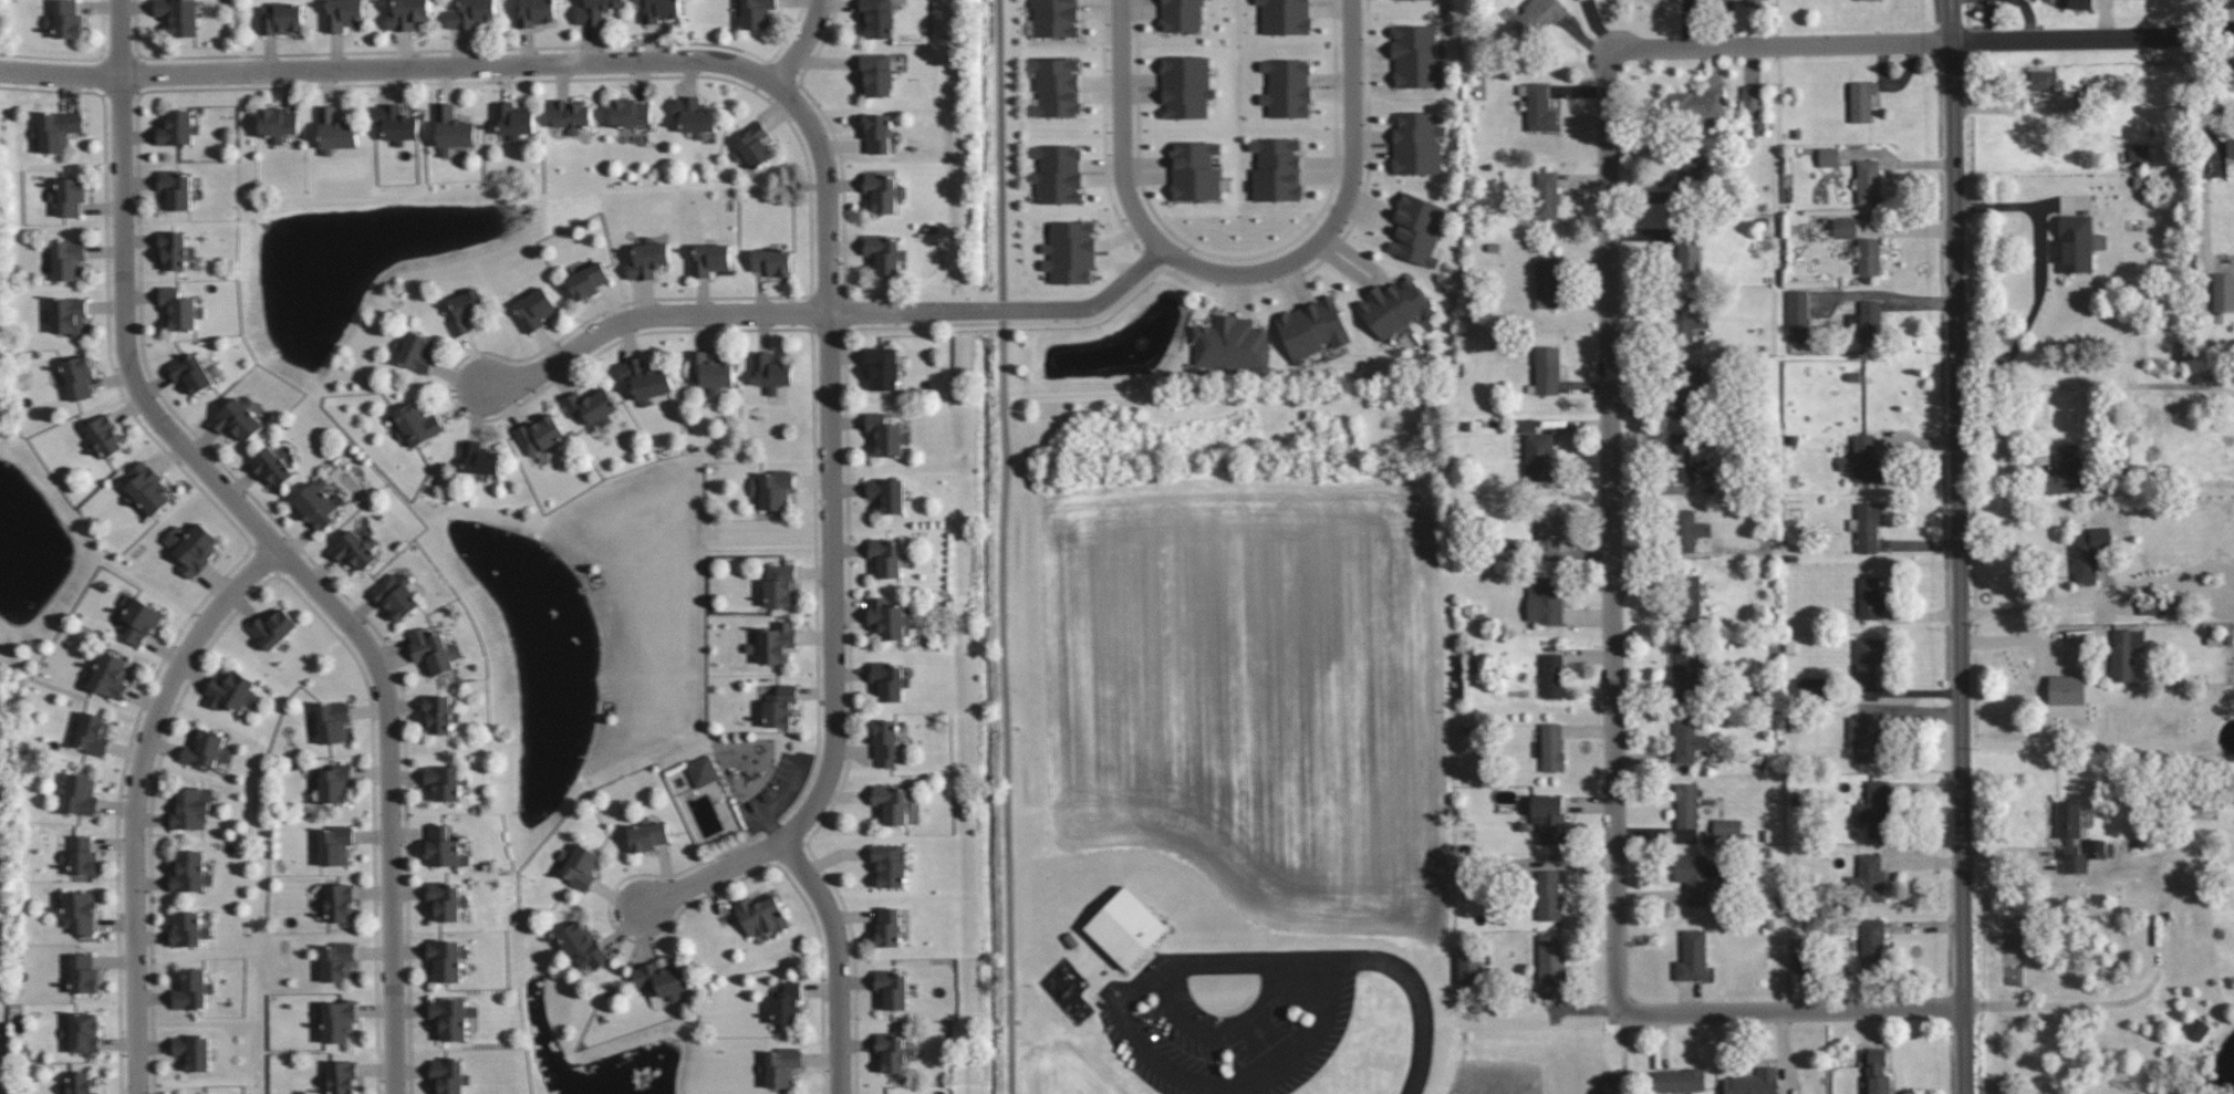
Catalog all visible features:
building: (1864, 0)
building: (2057, 1)
building: (1756, 2)
building: (2080, 3)
building: (1725, 4)
building: (595, 10)
building: (658, 10)
building: (534, 12)
building: (342, 13)
building: (407, 13)
building: (471, 13)
building: (757, 13)
building: (180, 15)
building: (1182, 15)
building: (1285, 15)
building: (1537, 17)
building: (281, 18)
building: (877, 18)
building: (1054, 18)
building: (65, 19)
road: (2093, 39)
road: (803, 42)
building: (1417, 56)
road: (451, 64)
road: (61, 73)
building: (877, 74)
building: (2041, 80)
building: (1056, 86)
building: (1186, 86)
building: (1287, 87)
building: (1752, 97)
building: (1862, 100)
building: (1696, 102)
building: (1540, 108)
building: (631, 112)
building: (571, 113)
building: (694, 114)
building: (513, 118)
building: (278, 122)
building: (396, 123)
road: (1121, 126)
building: (178, 128)
building: (453, 128)
building: (58, 129)
building: (335, 131)
building: (876, 133)
road: (1954, 139)
building: (1417, 143)
building: (2230, 145)
building: (755, 146)
building: (2140, 154)
building: (1829, 156)
building: (1277, 169)
building: (1195, 170)
building: (1058, 174)
building: (1868, 180)
building: (175, 189)
building: (883, 190)
building: (69, 195)
building: (1547, 195)
road: (1342, 213)
building: (1417, 228)
building: (1861, 241)
building: (2078, 243)
building: (1683, 246)
building: (175, 249)
building: (1070, 251)
building: (886, 253)
building: (69, 258)
building: (648, 258)
building: (709, 259)
building: (773, 261)
road: (2041, 270)
building: (588, 280)
building: (1547, 282)
building: (2223, 291)
building: (1394, 306)
building: (180, 309)
building: (534, 309)
building: (466, 310)
road: (1007, 310)
building: (1798, 312)
building: (69, 314)
road: (647, 316)
building: (1686, 320)
building: (1870, 321)
building: (1313, 327)
building: (1232, 344)
building: (415, 351)
road: (1610, 361)
building: (883, 367)
building: (710, 371)
building: (771, 371)
building: (1547, 371)
building: (191, 372)
building: (79, 375)
building: (645, 378)
building: (1686, 395)
building: (592, 406)
building: (239, 418)
building: (416, 424)
building: (540, 434)
building: (887, 435)
building: (105, 436)
building: (1539, 452)
building: (1685, 457)
building: (479, 458)
building: (1863, 459)
road: (832, 461)
building: (273, 467)
building: (2064, 470)
building: (147, 488)
building: (773, 488)
building: (887, 493)
building: (315, 504)
building: (1868, 525)
building: (1549, 527)
building: (1689, 530)
road: (276, 540)
building: (193, 546)
road: (1005, 546)
building: (356, 550)
building: (2089, 552)
building: (886, 558)
building: (780, 584)
building: (396, 595)
building: (1871, 597)
building: (1545, 600)
road: (2041, 605)
building: (2154, 608)
building: (889, 617)
building: (139, 618)
building: (274, 627)
road: (2022, 637)
building: (775, 643)
building: (434, 649)
building: (2122, 655)
building: (1869, 659)
building: (1686, 668)
building: (110, 675)
building: (1552, 675)
building: (889, 681)
building: (1814, 686)
road: (1963, 686)
building: (2066, 689)
building: (232, 690)
building: (780, 706)
building: (439, 713)
building: (333, 721)
building: (93, 732)
building: (1866, 736)
building: (885, 740)
building: (1687, 740)
building: (1551, 747)
building: (207, 749)
building: (703, 770)
building: (445, 781)
building: (335, 782)
building: (81, 794)
road: (134, 796)
building: (892, 802)
building: (1686, 804)
building: (191, 806)
building: (1875, 809)
building: (1549, 817)
building: (1715, 825)
building: (647, 834)
building: (2074, 838)
building: (335, 843)
building: (444, 847)
building: (81, 855)
building: (890, 864)
building: (581, 865)
building: (189, 872)
road: (711, 875)
building: (1698, 876)
building: (1869, 877)
building: (1549, 894)
building: (446, 899)
building: (340, 900)
building: (81, 911)
building: (761, 915)
building: (887, 927)
building: (1128, 927)
building: (188, 929)
building: (1873, 942)
building: (583, 945)
road: (1350, 952)
building: (1693, 957)
building: (447, 958)
building: (1551, 958)
building: (337, 960)
road: (838, 960)
building: (1469, 969)
building: (84, 972)
building: (662, 979)
building: (892, 988)
building: (193, 989)
building: (787, 1002)
road: (2060, 1003)
road: (1791, 1012)
building: (453, 1017)
building: (337, 1020)
parking lot: (1233, 1021)
building: (2197, 1028)
park: (1259, 1031)
building: (83, 1032)
building: (194, 1051)
building: (893, 1051)
building: (782, 1065)
building: (1878, 1071)
building: (449, 1075)
building: (343, 1076)
building: (1680, 1080)
road: (1219, 1082)
building: (1753, 1082)
building: (79, 1084)

